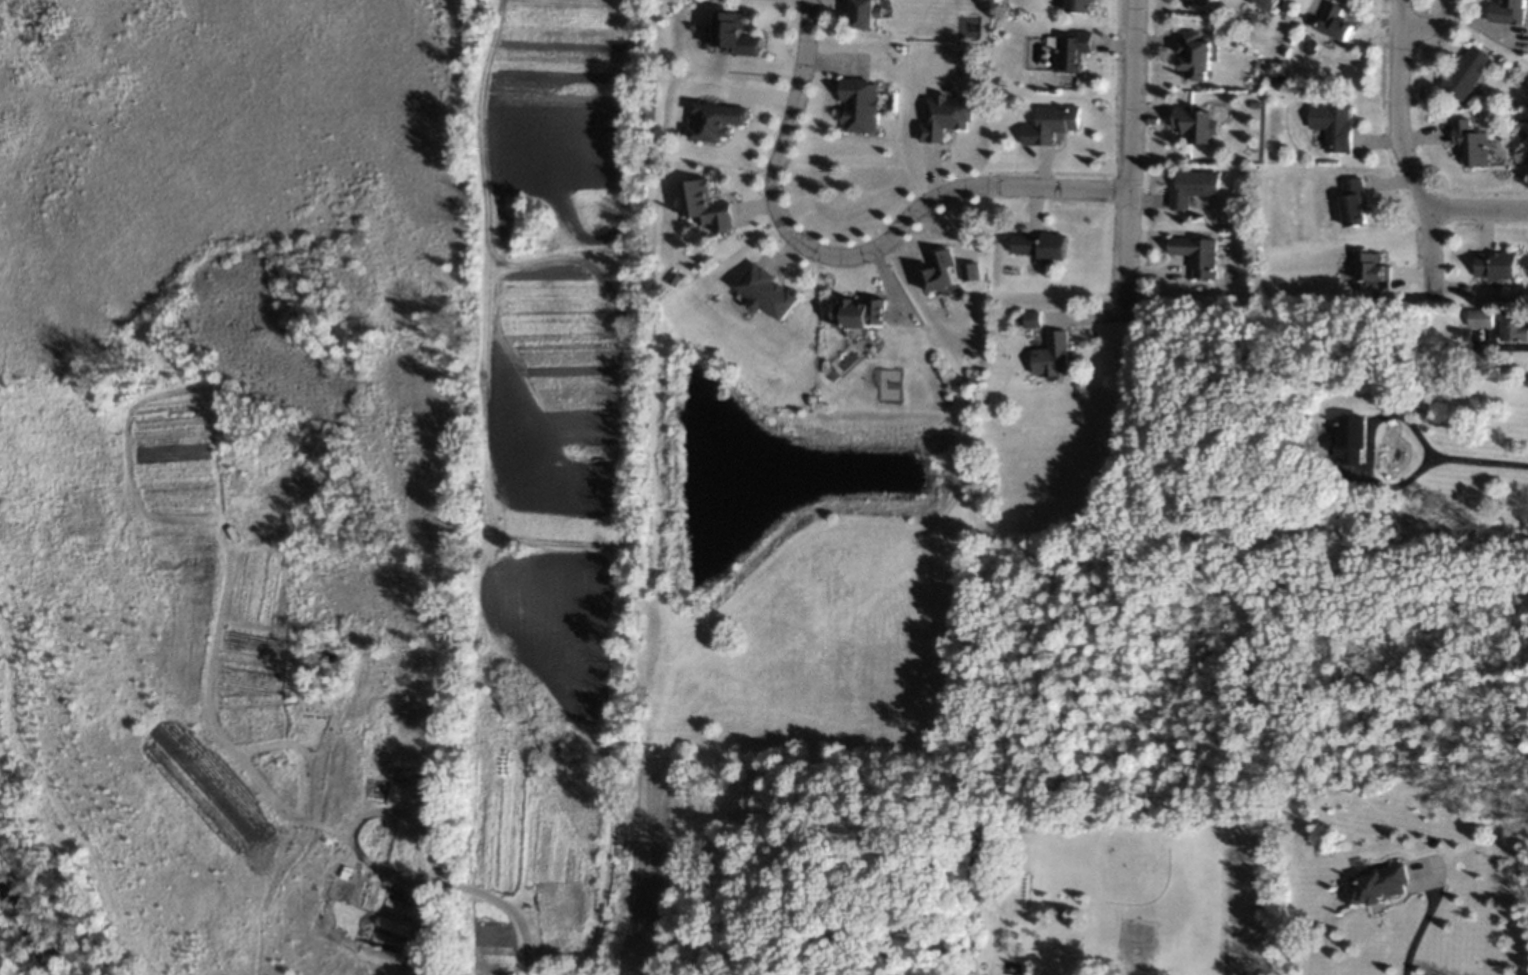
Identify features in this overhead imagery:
building: (1187, 2)
building: (1265, 4)
building: (1080, 6)
building: (1508, 12)
building: (863, 13)
building: (1335, 22)
road: (1432, 26)
building: (733, 33)
building: (1070, 51)
building: (1194, 56)
building: (1466, 72)
building: (994, 82)
building: (1003, 82)
building: (859, 104)
building: (1254, 105)
road: (793, 110)
building: (944, 116)
building: (719, 120)
building: (1055, 123)
building: (1195, 124)
building: (1333, 126)
building: (1030, 134)
building: (1472, 145)
road: (1403, 150)
road: (1130, 158)
building: (1247, 176)
building: (1192, 188)
road: (936, 195)
building: (1353, 202)
building: (708, 206)
road: (1477, 209)
park: (280, 215)
building: (1181, 219)
building: (978, 245)
building: (1042, 245)
building: (1197, 254)
building: (1496, 265)
building: (940, 271)
building: (971, 271)
building: (1372, 271)
building: (676, 279)
building: (767, 292)
building: (965, 295)
building: (860, 313)
building: (1479, 318)
building: (1034, 320)
building: (1512, 325)
building: (1054, 355)
building: (834, 376)
building: (1348, 439)
road: (1369, 449)
road: (1485, 463)
building: (1347, 514)
park: (797, 574)
park: (250, 692)
park: (655, 873)
building: (1378, 885)
river: (27, 922)
road: (1421, 928)
building: (982, 964)
building: (733, 974)

